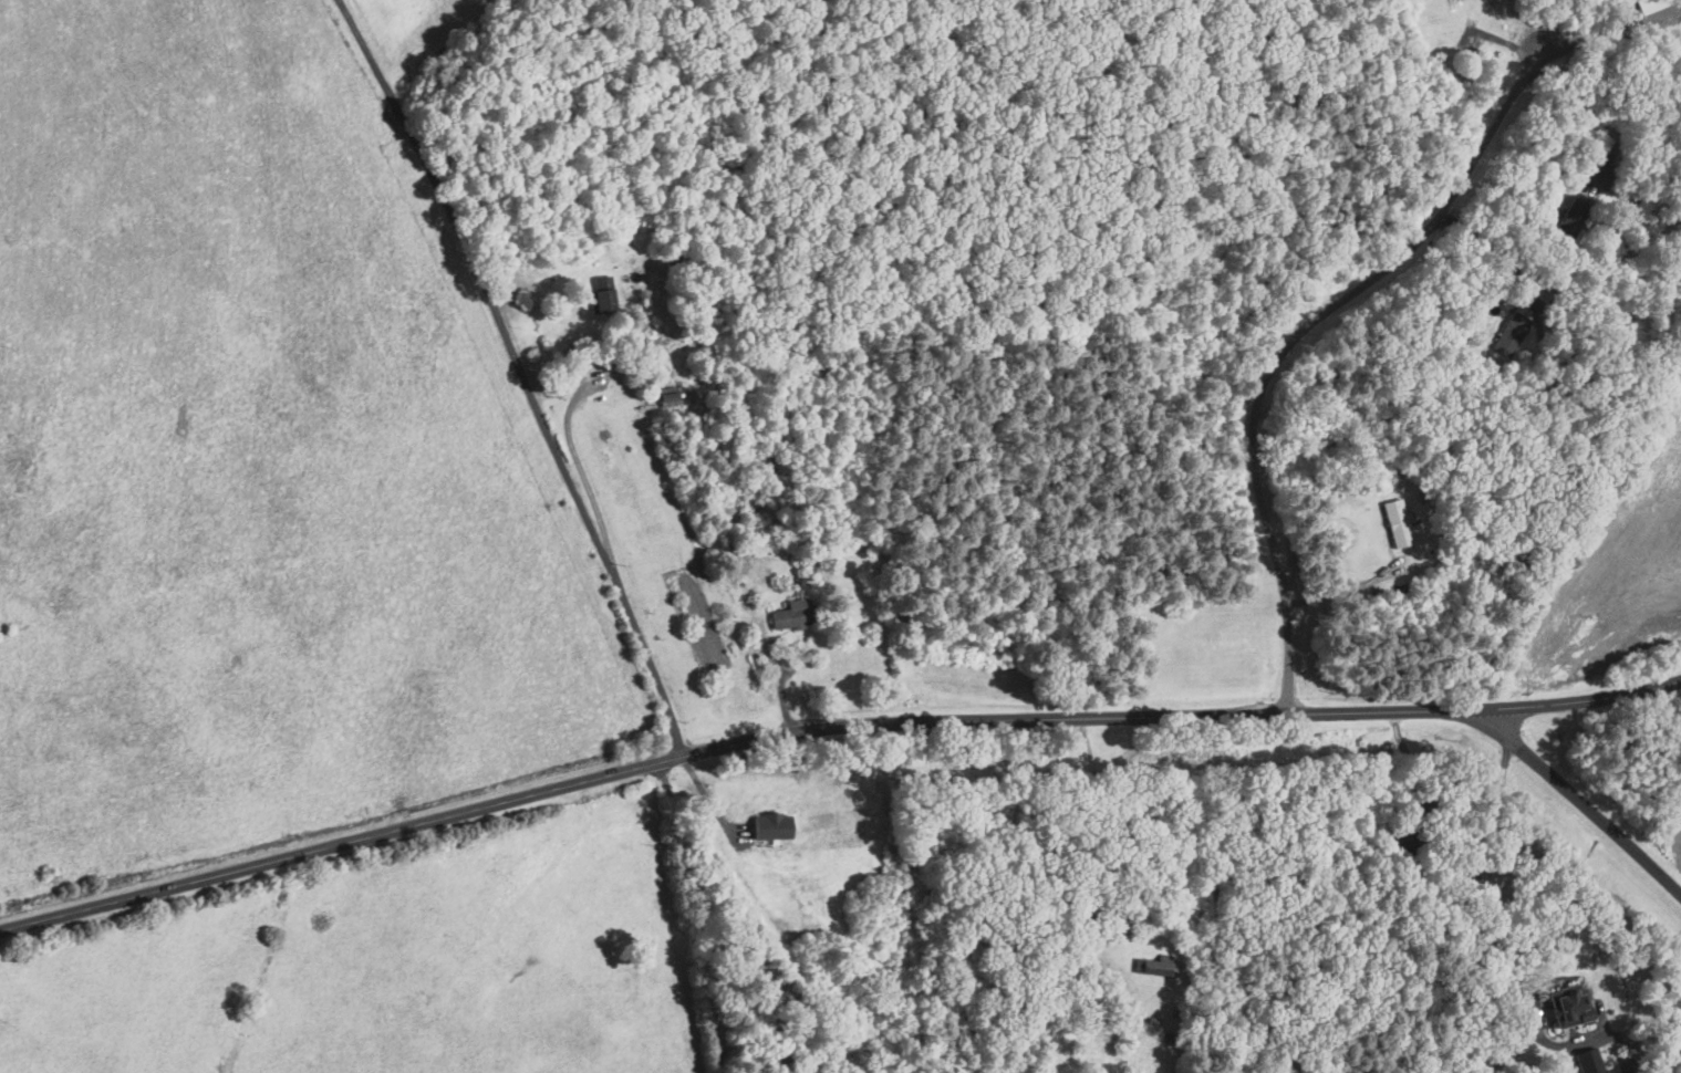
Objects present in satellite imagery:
road: (1606, 33)
road: (1586, 115)
road: (1480, 240)
building: (601, 293)
road: (1295, 344)
road: (522, 374)
road: (569, 435)
building: (1397, 523)
road: (1346, 590)
building: (790, 616)
road: (777, 678)
road: (829, 725)
road: (712, 803)
road: (1581, 806)
road: (1094, 813)
building: (772, 823)
road: (681, 919)
road: (1504, 960)
building: (1569, 1007)
building: (1588, 1061)

